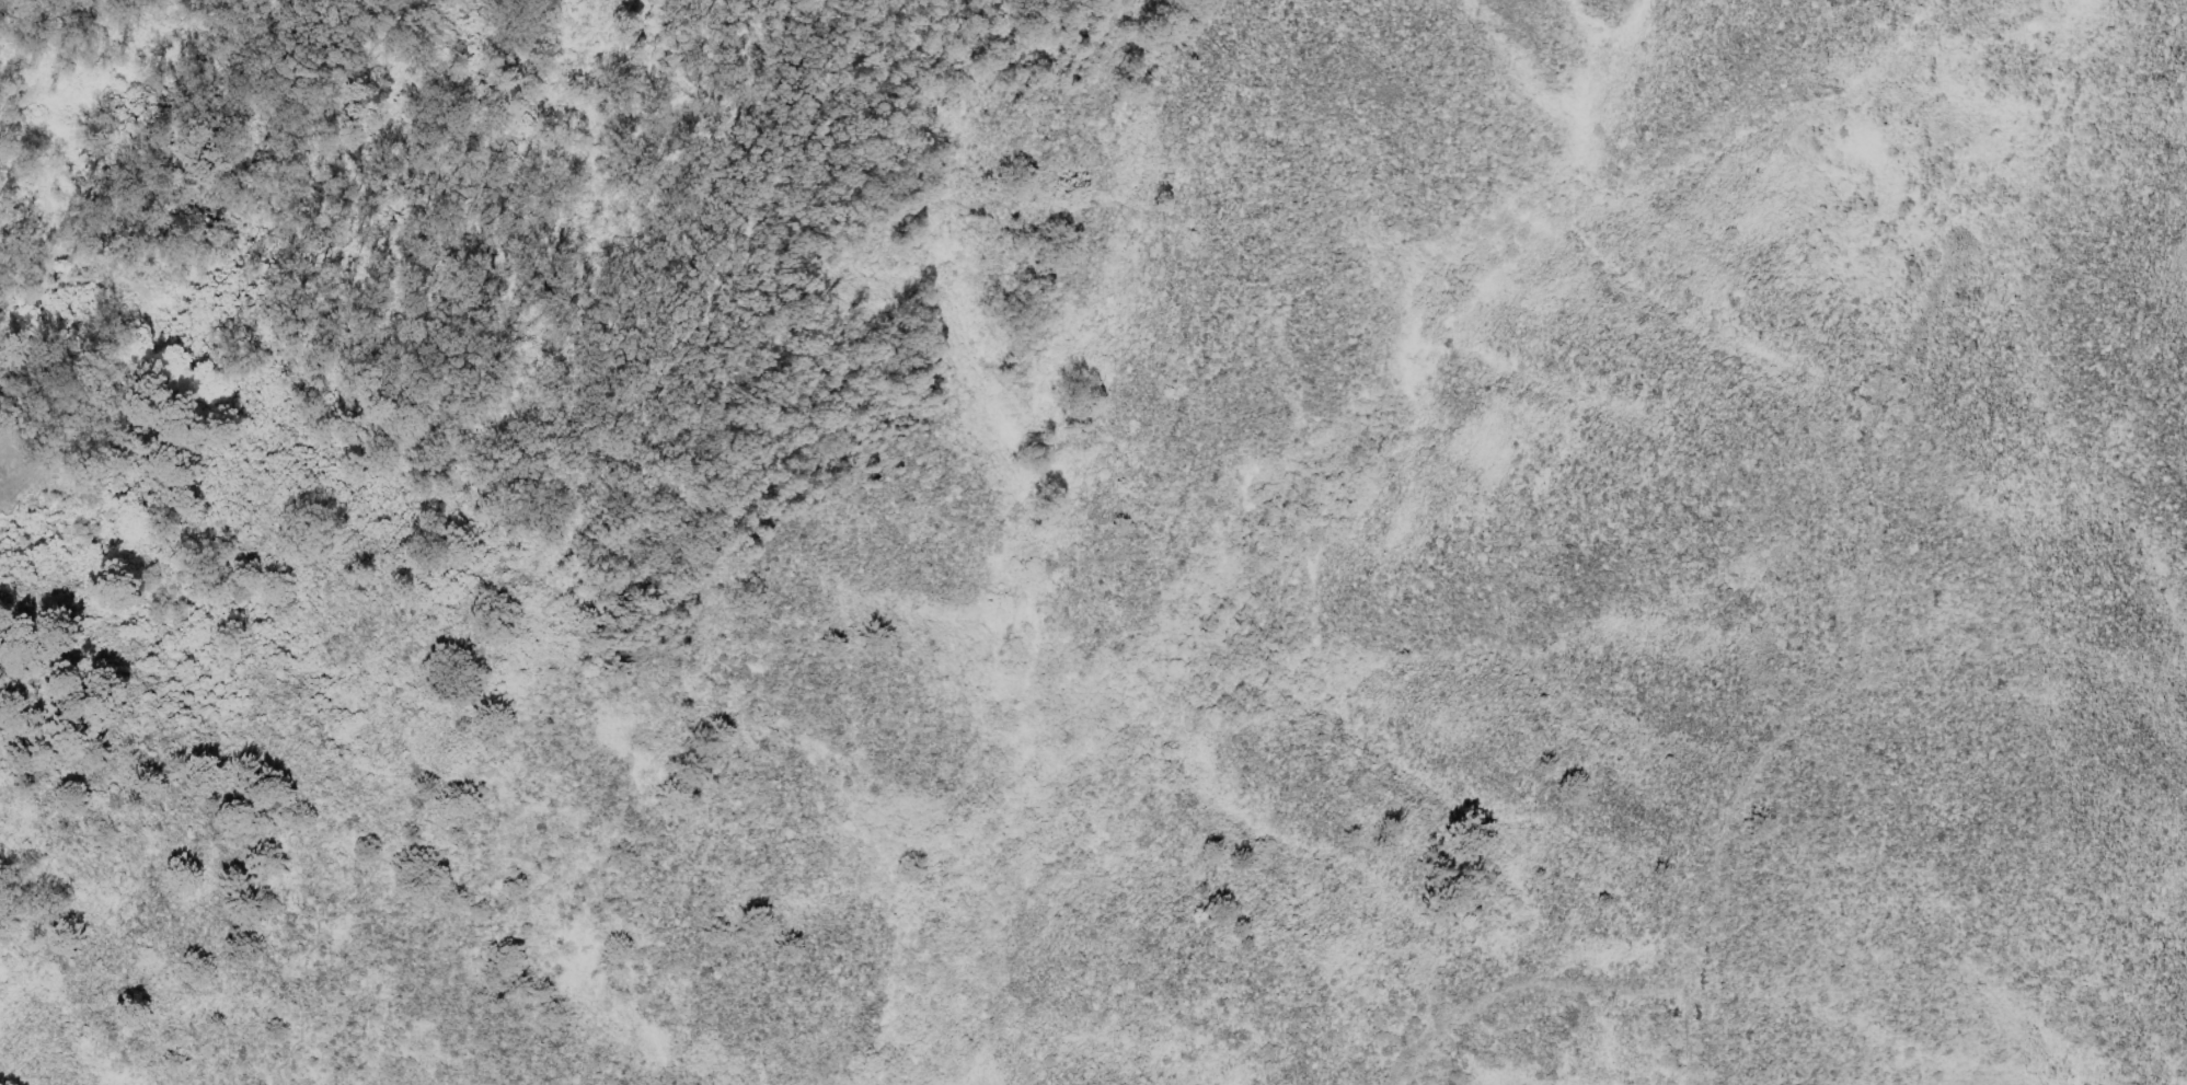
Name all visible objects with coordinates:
park: (1087, 426)

